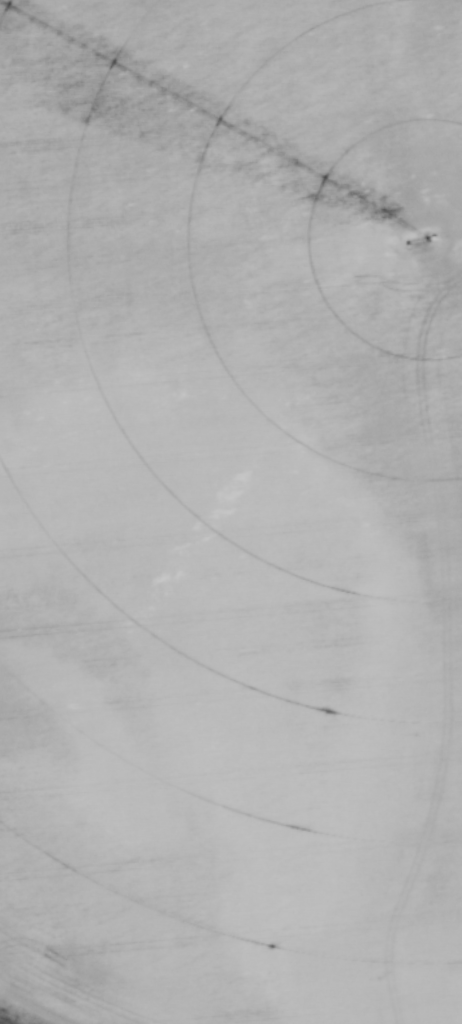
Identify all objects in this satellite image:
crop: (231, 510)

